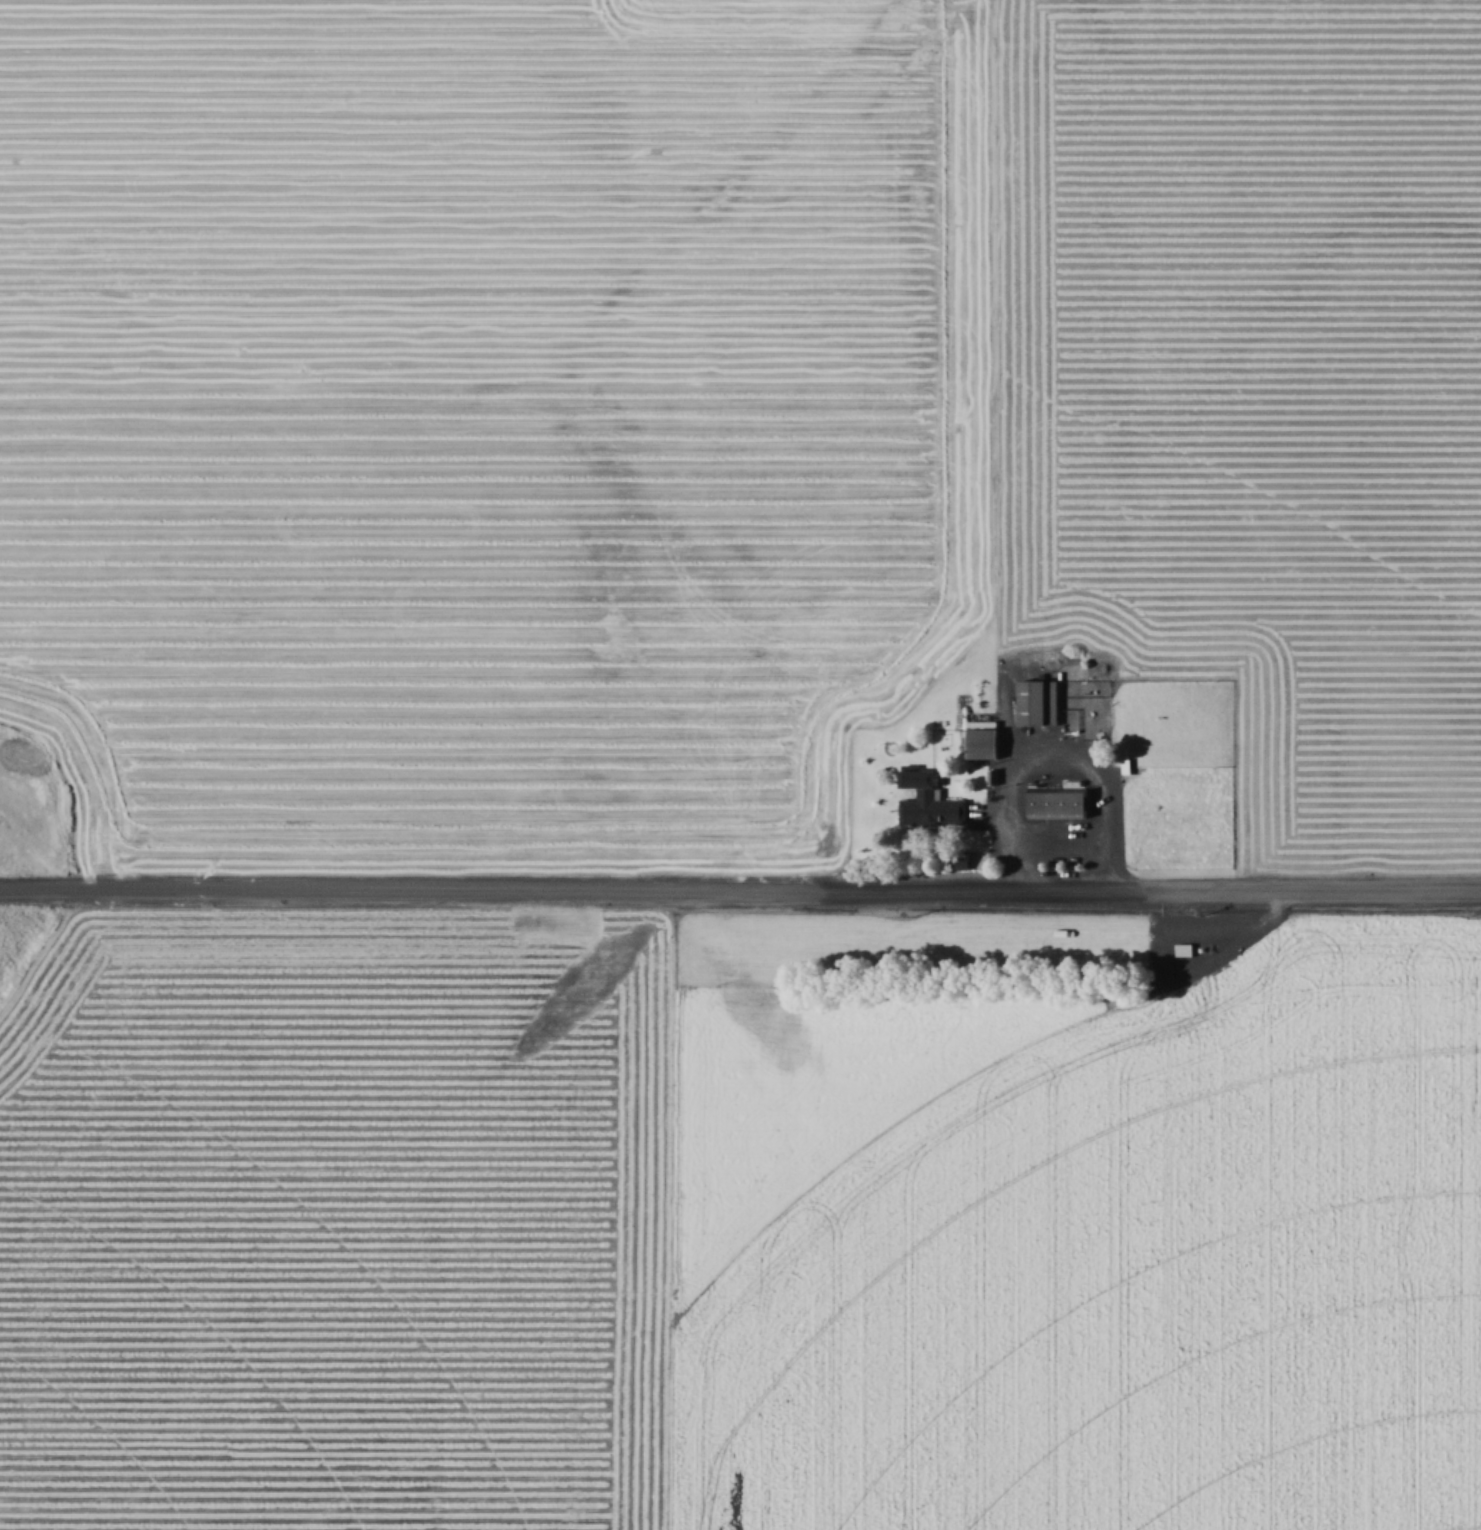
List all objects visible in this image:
building: (1041, 703)
building: (986, 743)
building: (1060, 803)
building: (933, 805)
road: (740, 886)
building: (1185, 950)

